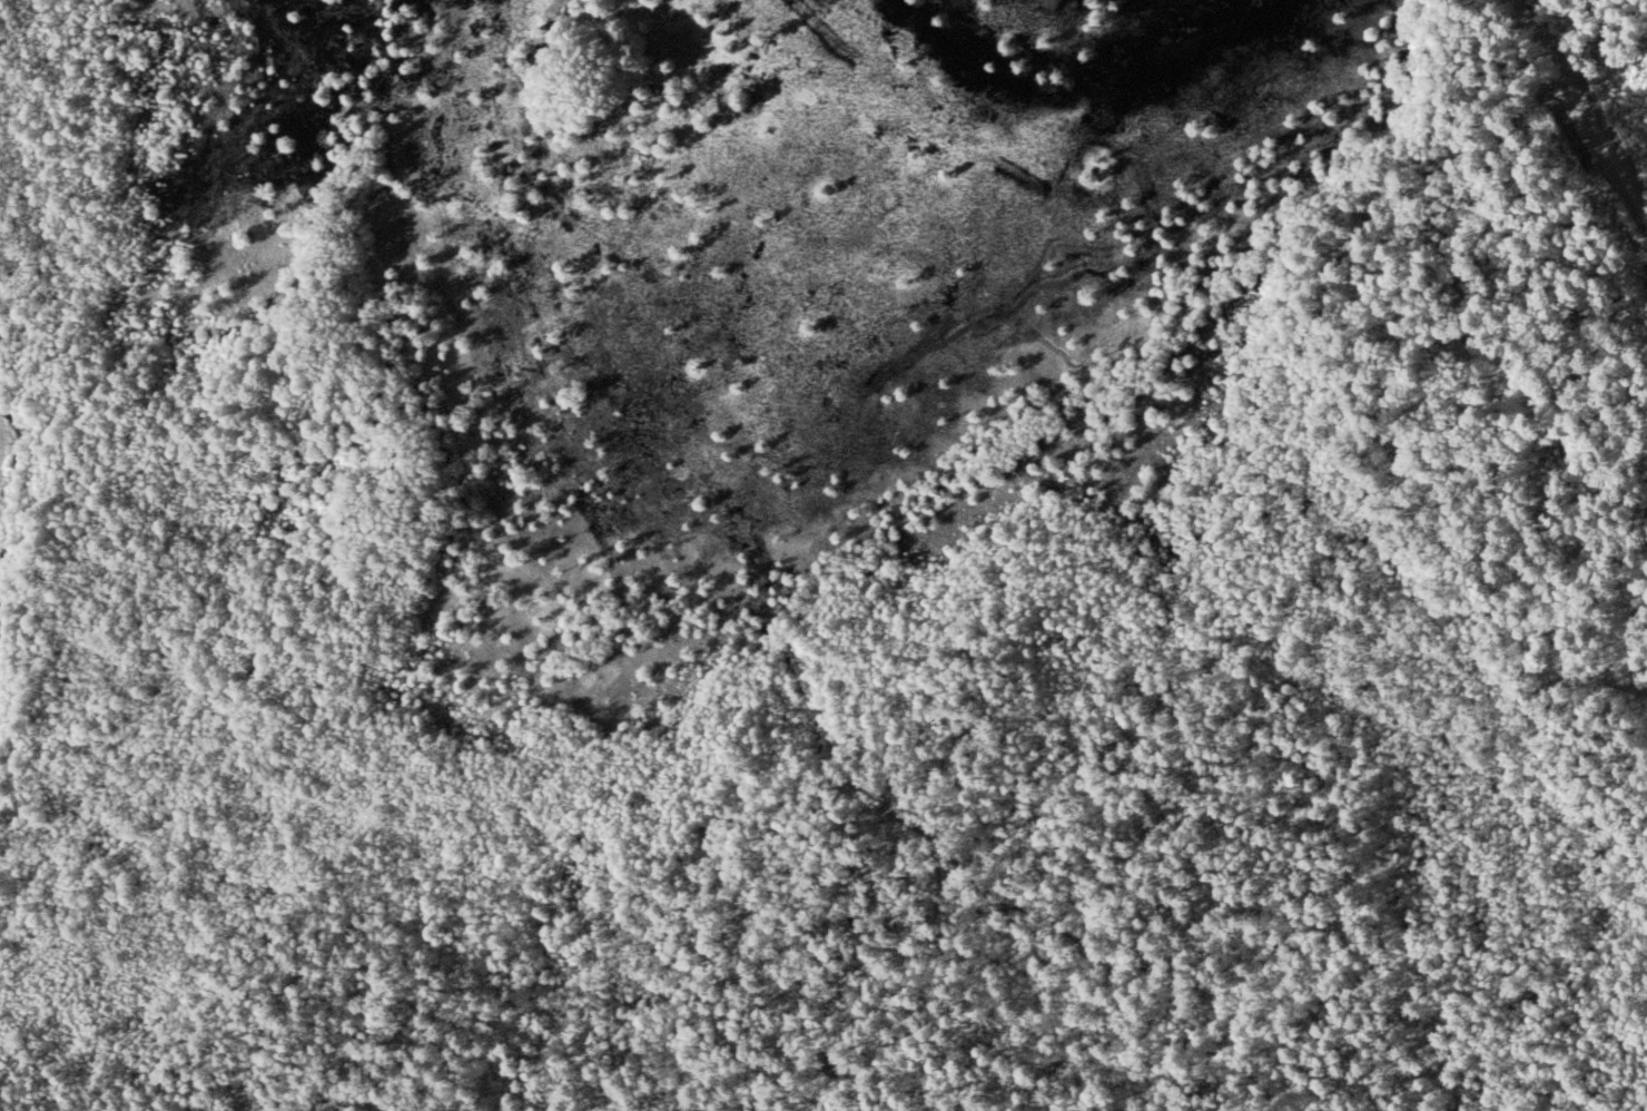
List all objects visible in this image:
road: (1581, 105)

